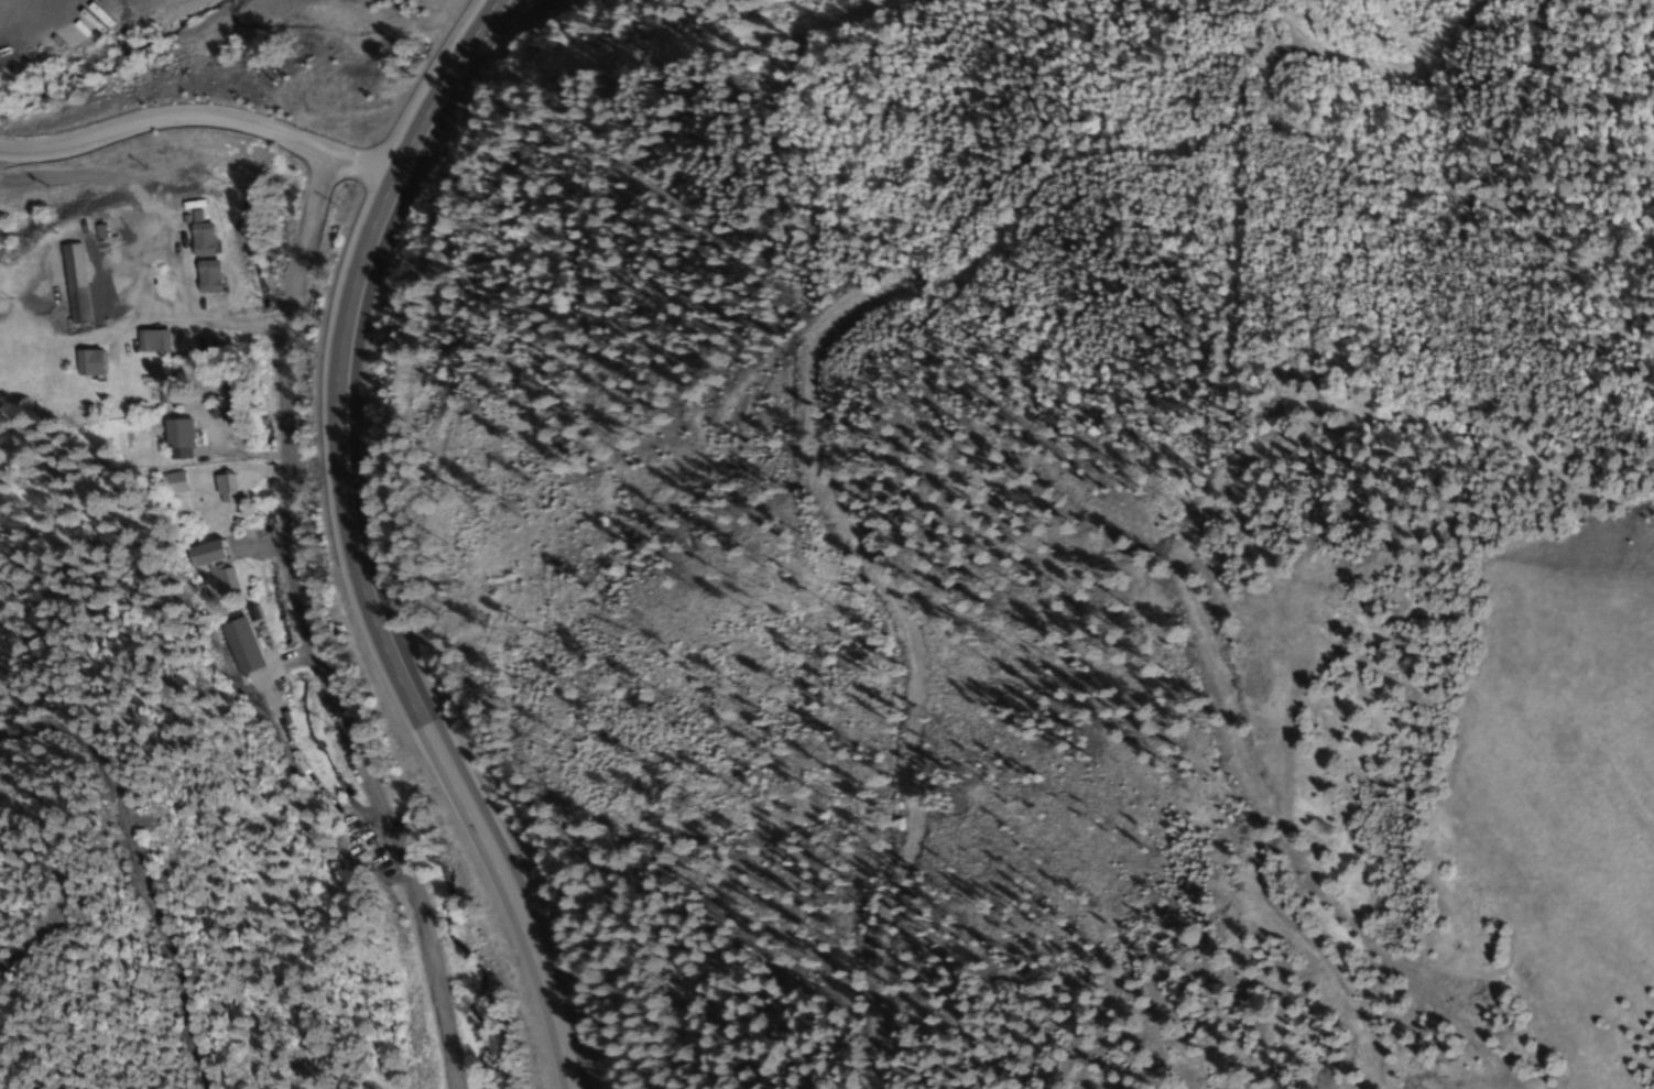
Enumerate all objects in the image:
road: (207, 118)
building: (198, 239)
building: (204, 277)
building: (73, 283)
building: (151, 341)
building: (85, 363)
building: (174, 439)
building: (225, 488)
road: (362, 547)
building: (202, 552)
building: (220, 580)
road: (308, 629)
building: (237, 644)

